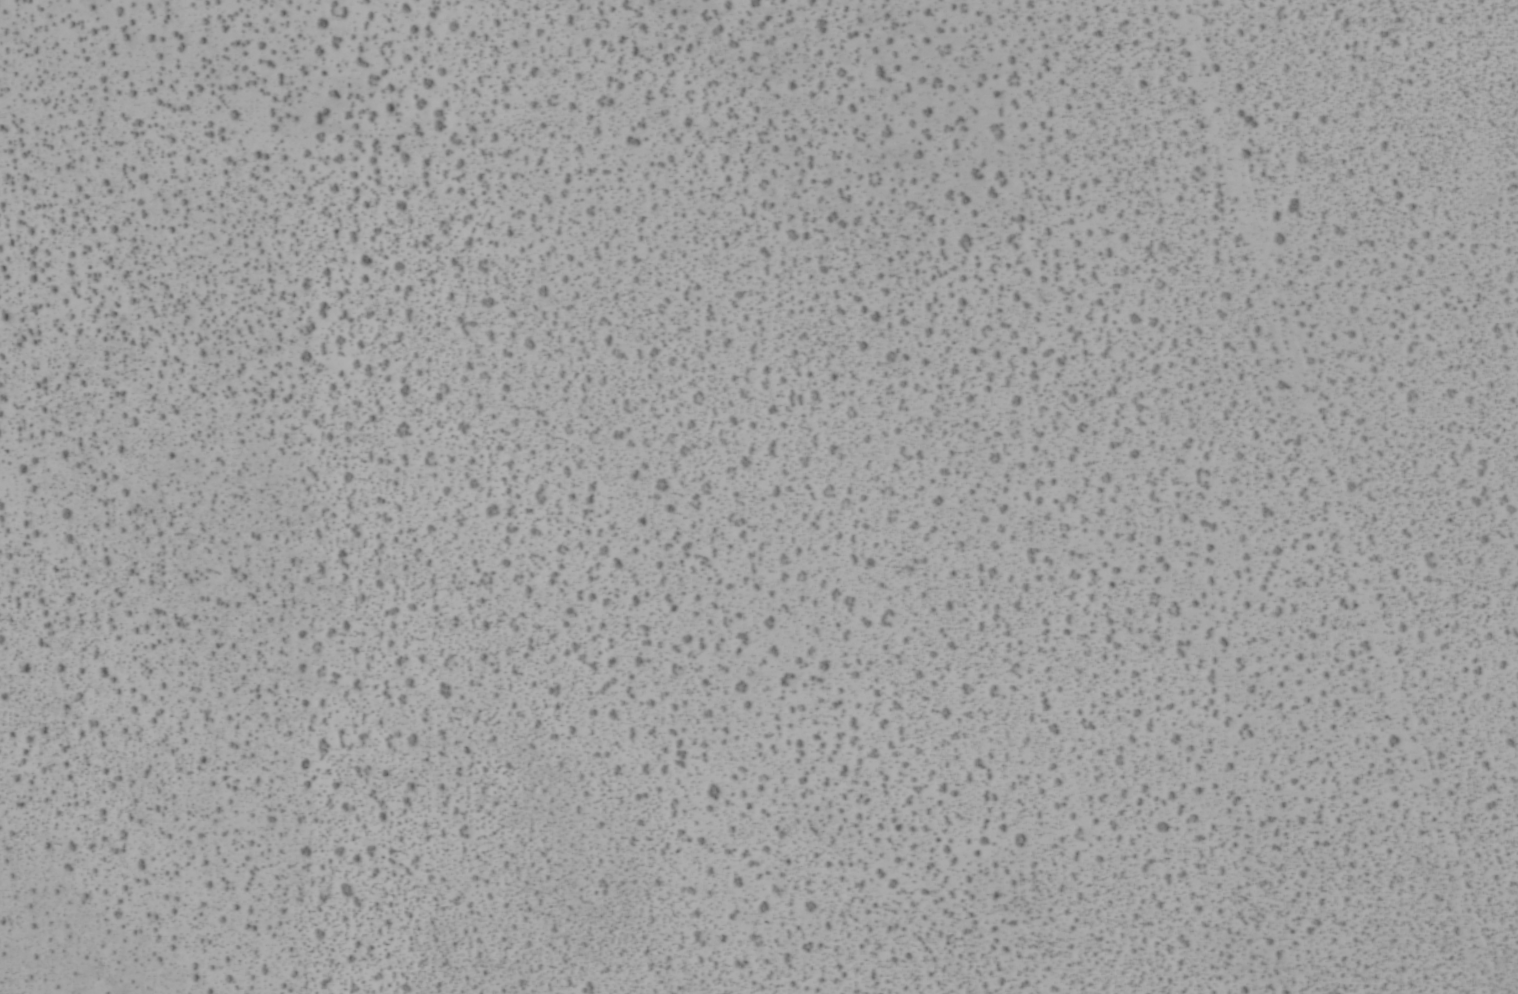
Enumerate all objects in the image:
road: (1341, 494)

